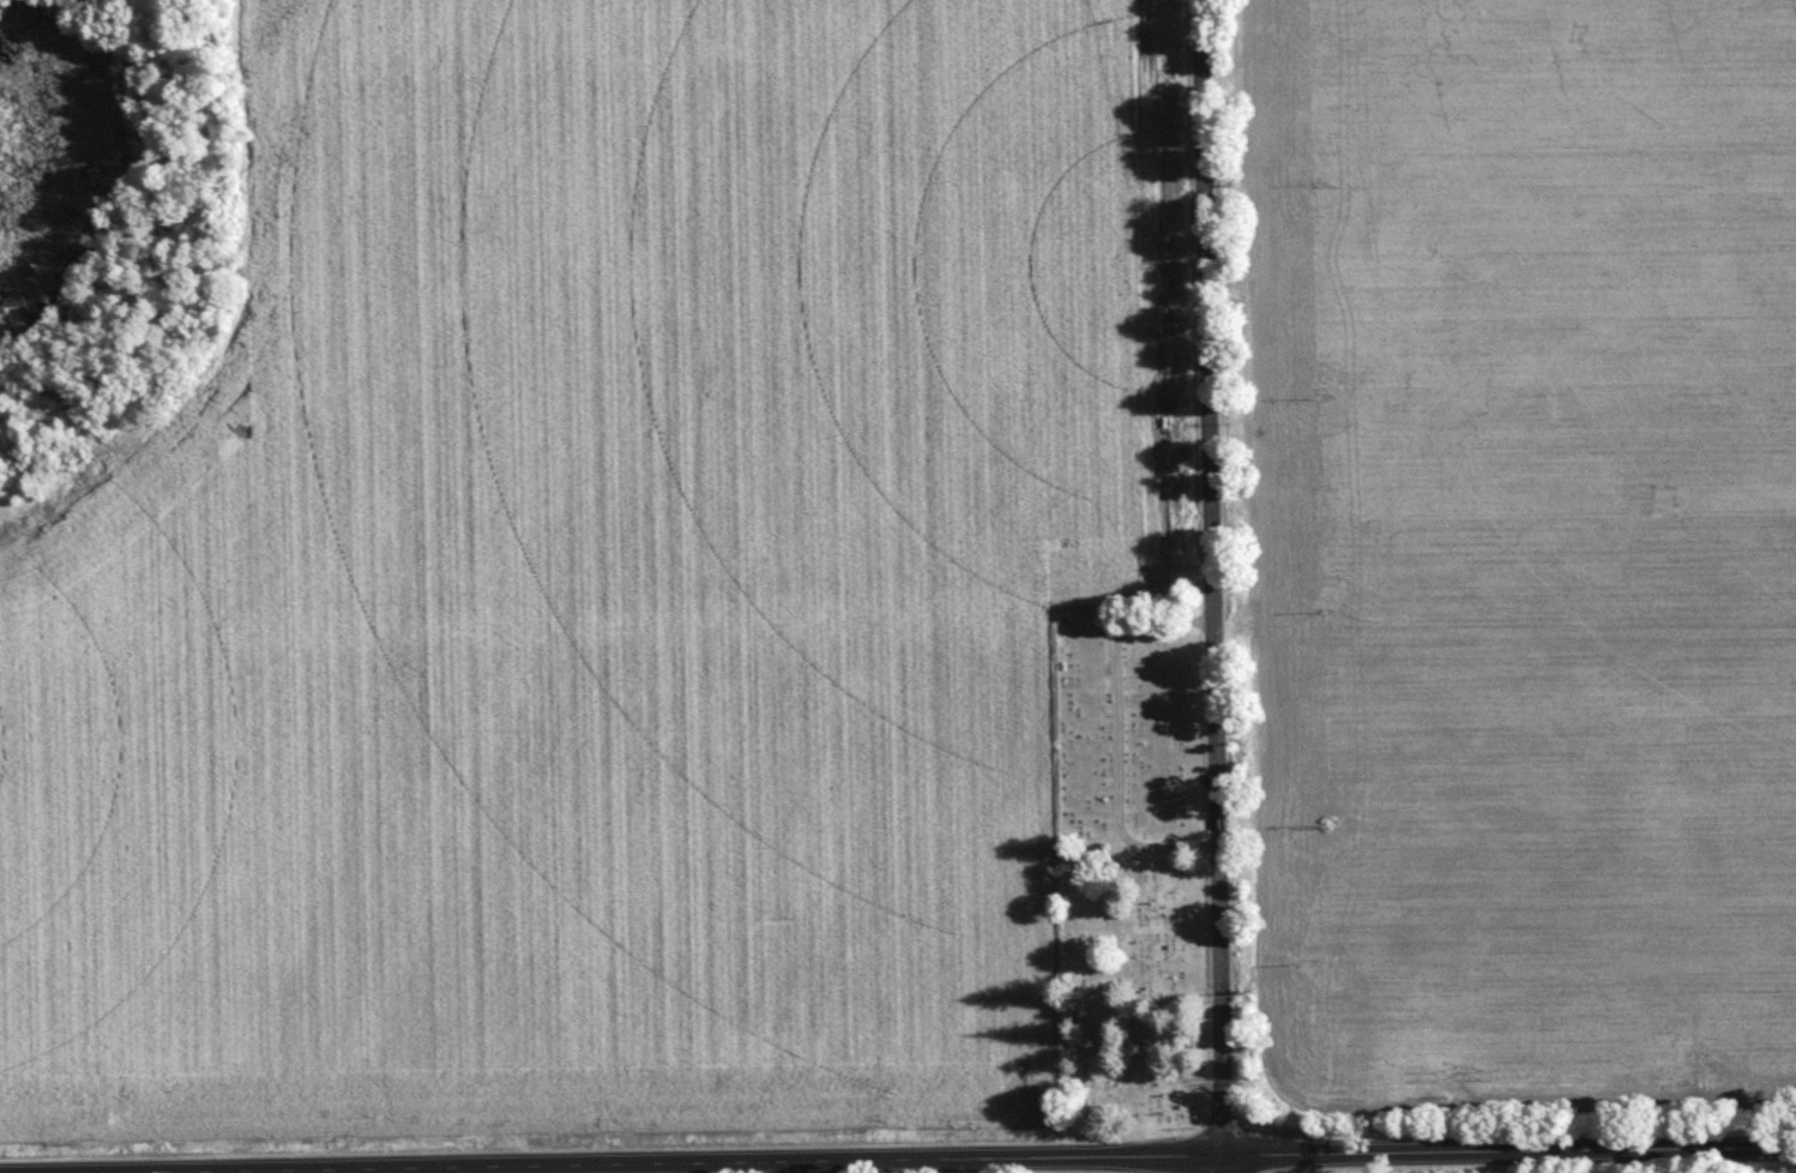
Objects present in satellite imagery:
road: (1215, 576)
park: (1128, 873)
road: (917, 1157)
road: (1228, 1162)

